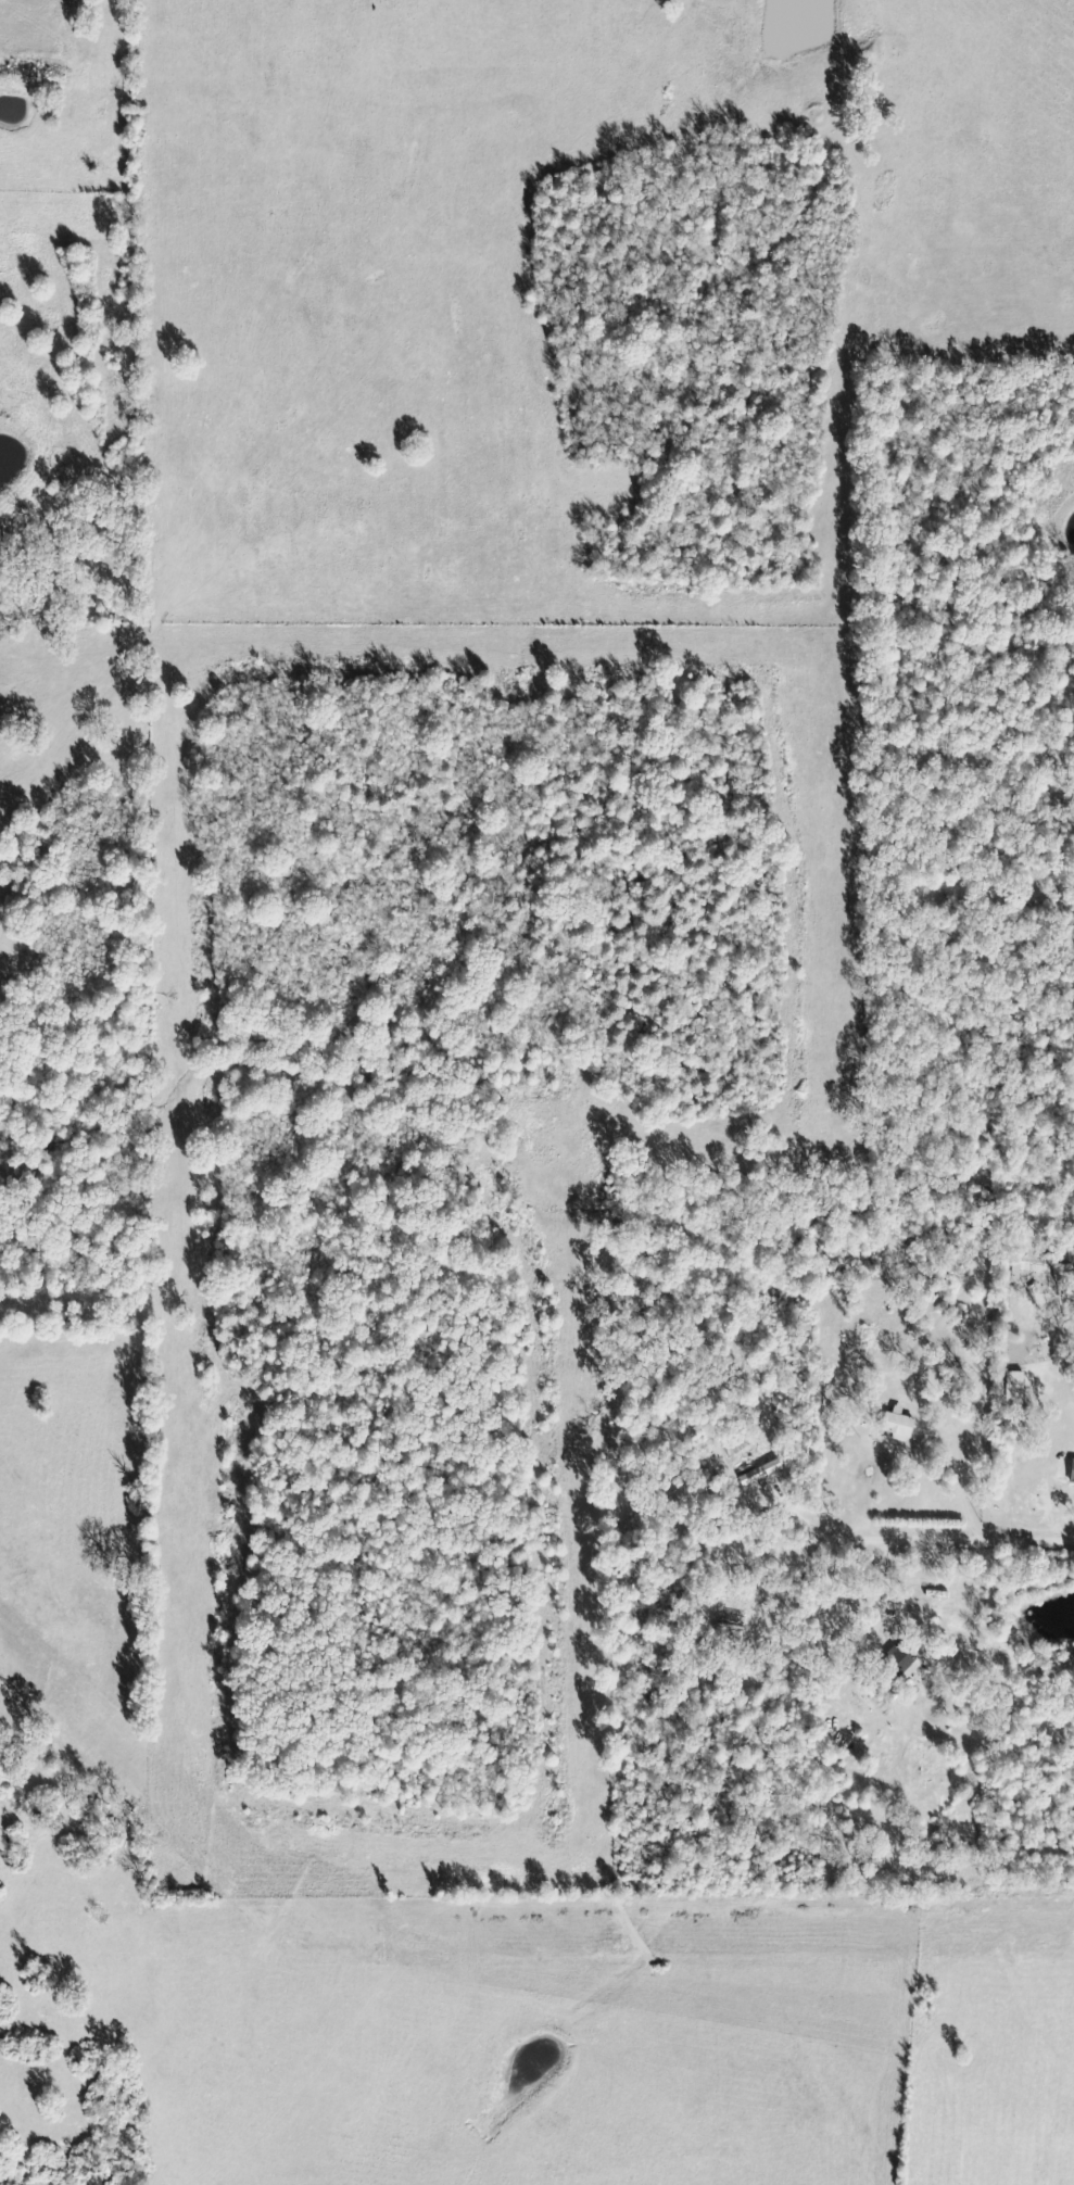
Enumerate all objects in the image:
building: (1012, 1387)
building: (895, 1426)
building: (741, 1445)
building: (1071, 1472)
road: (955, 1536)
building: (901, 1664)

